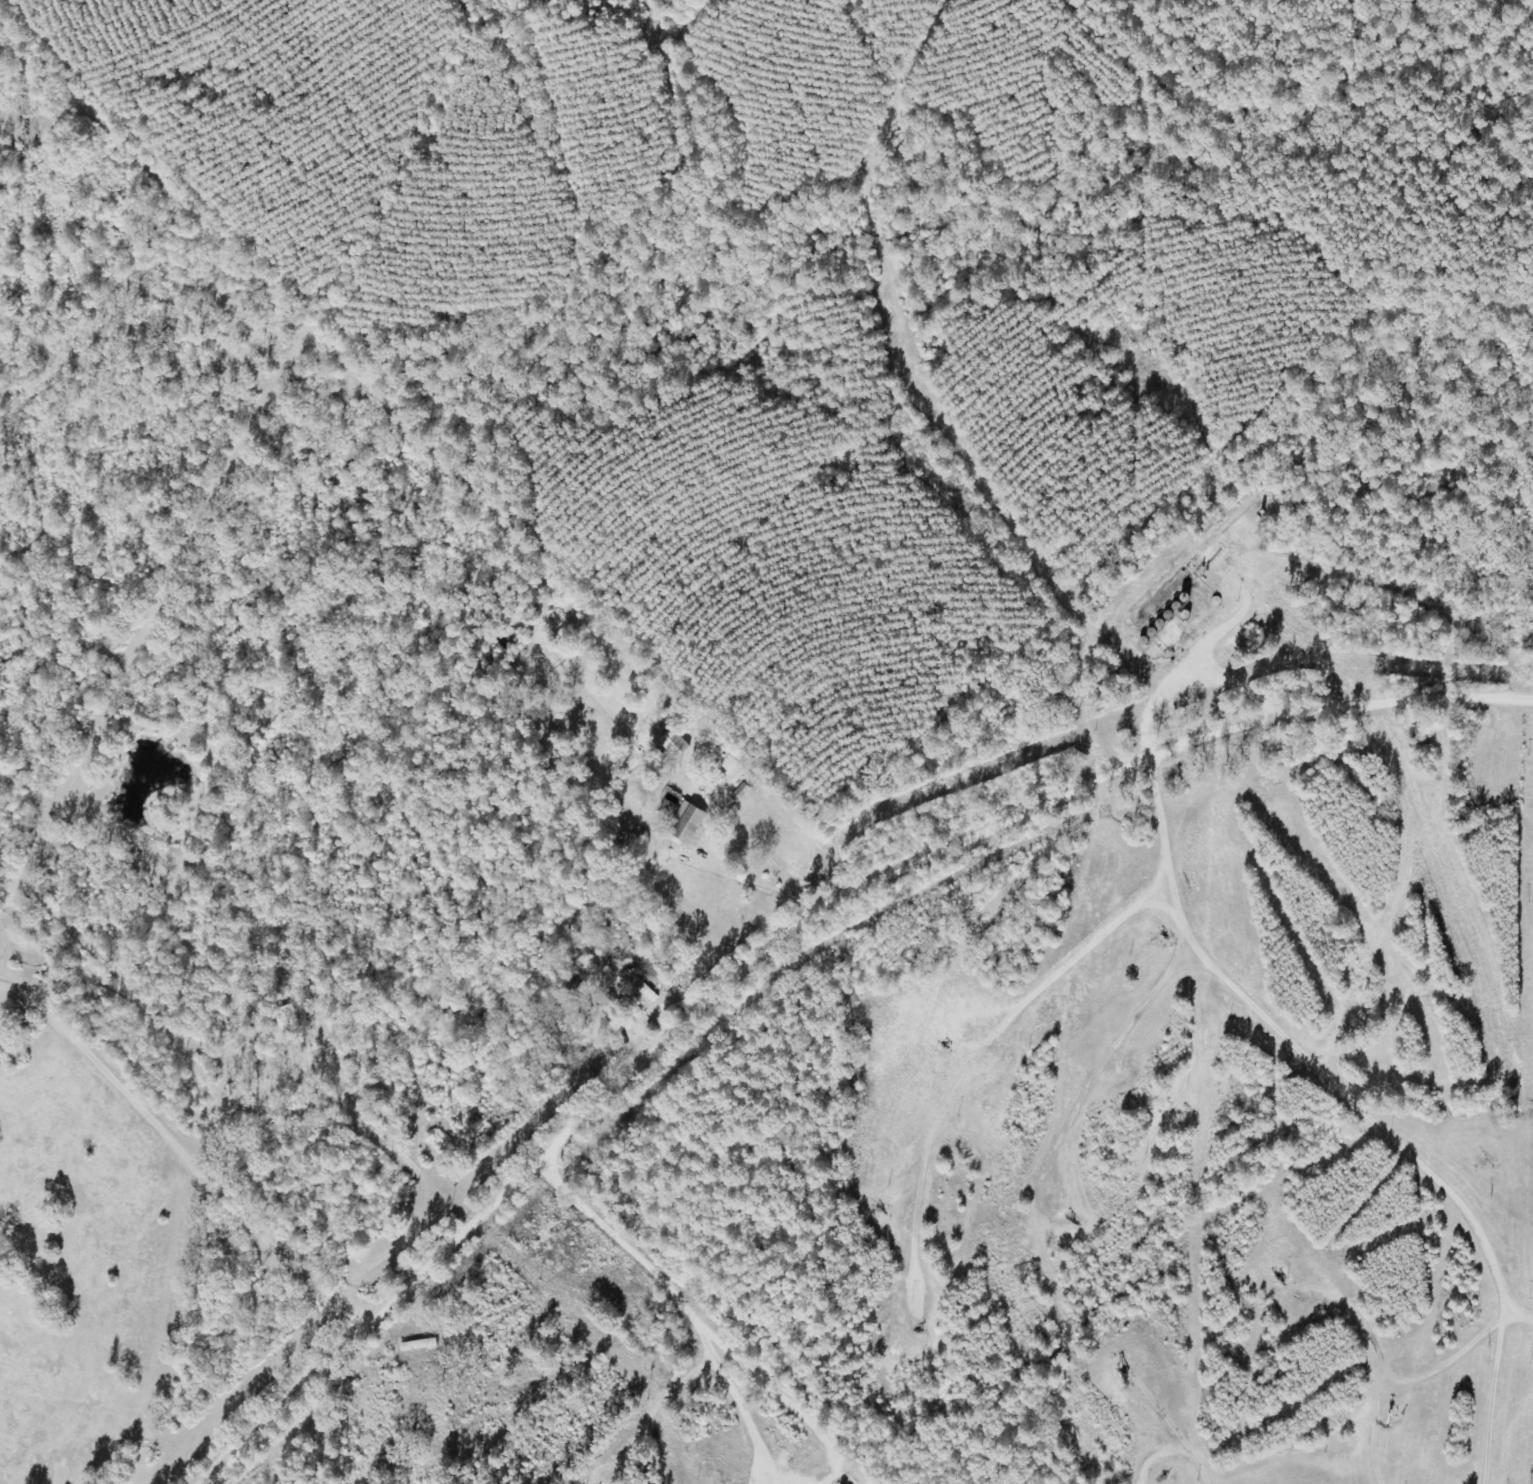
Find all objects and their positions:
building: (675, 744)
building: (742, 793)
road: (806, 946)
road: (1435, 1109)
road: (465, 1118)
road: (694, 1312)
road: (1133, 1435)

